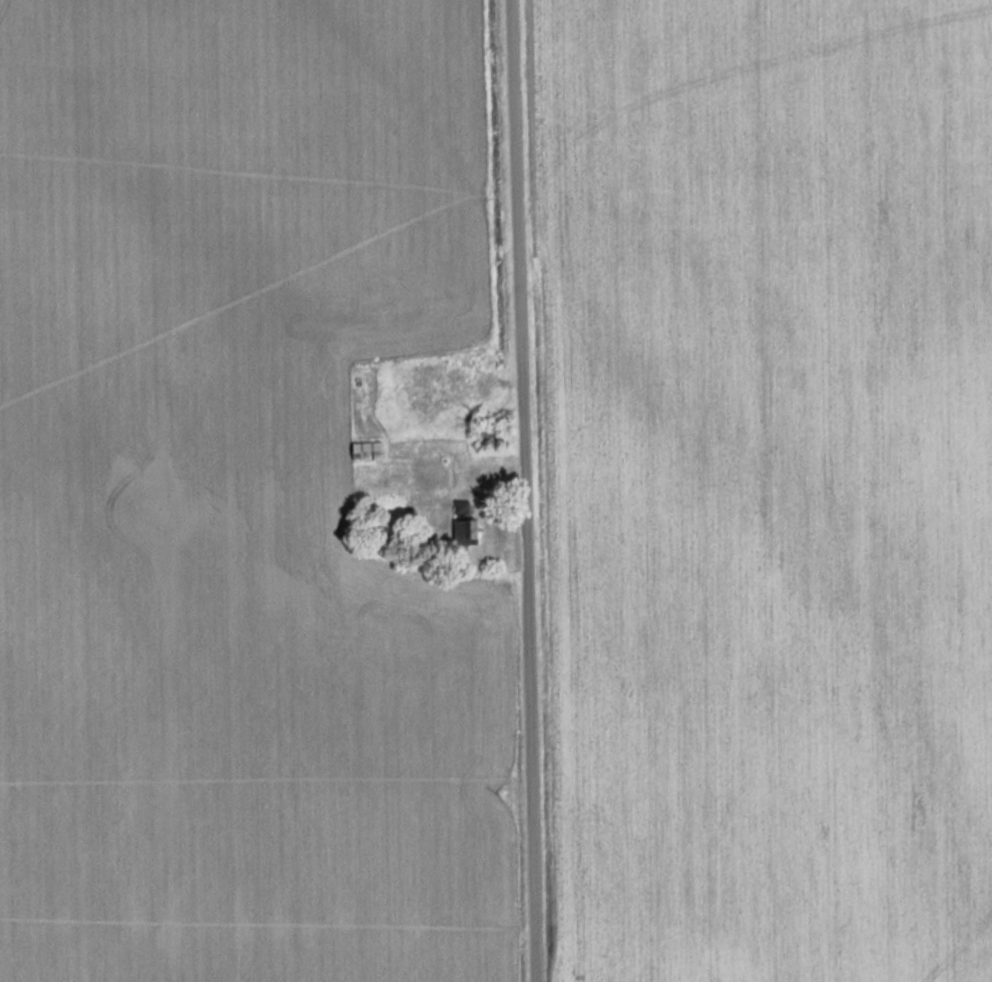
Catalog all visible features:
building: (366, 450)
road: (516, 491)
building: (465, 522)

